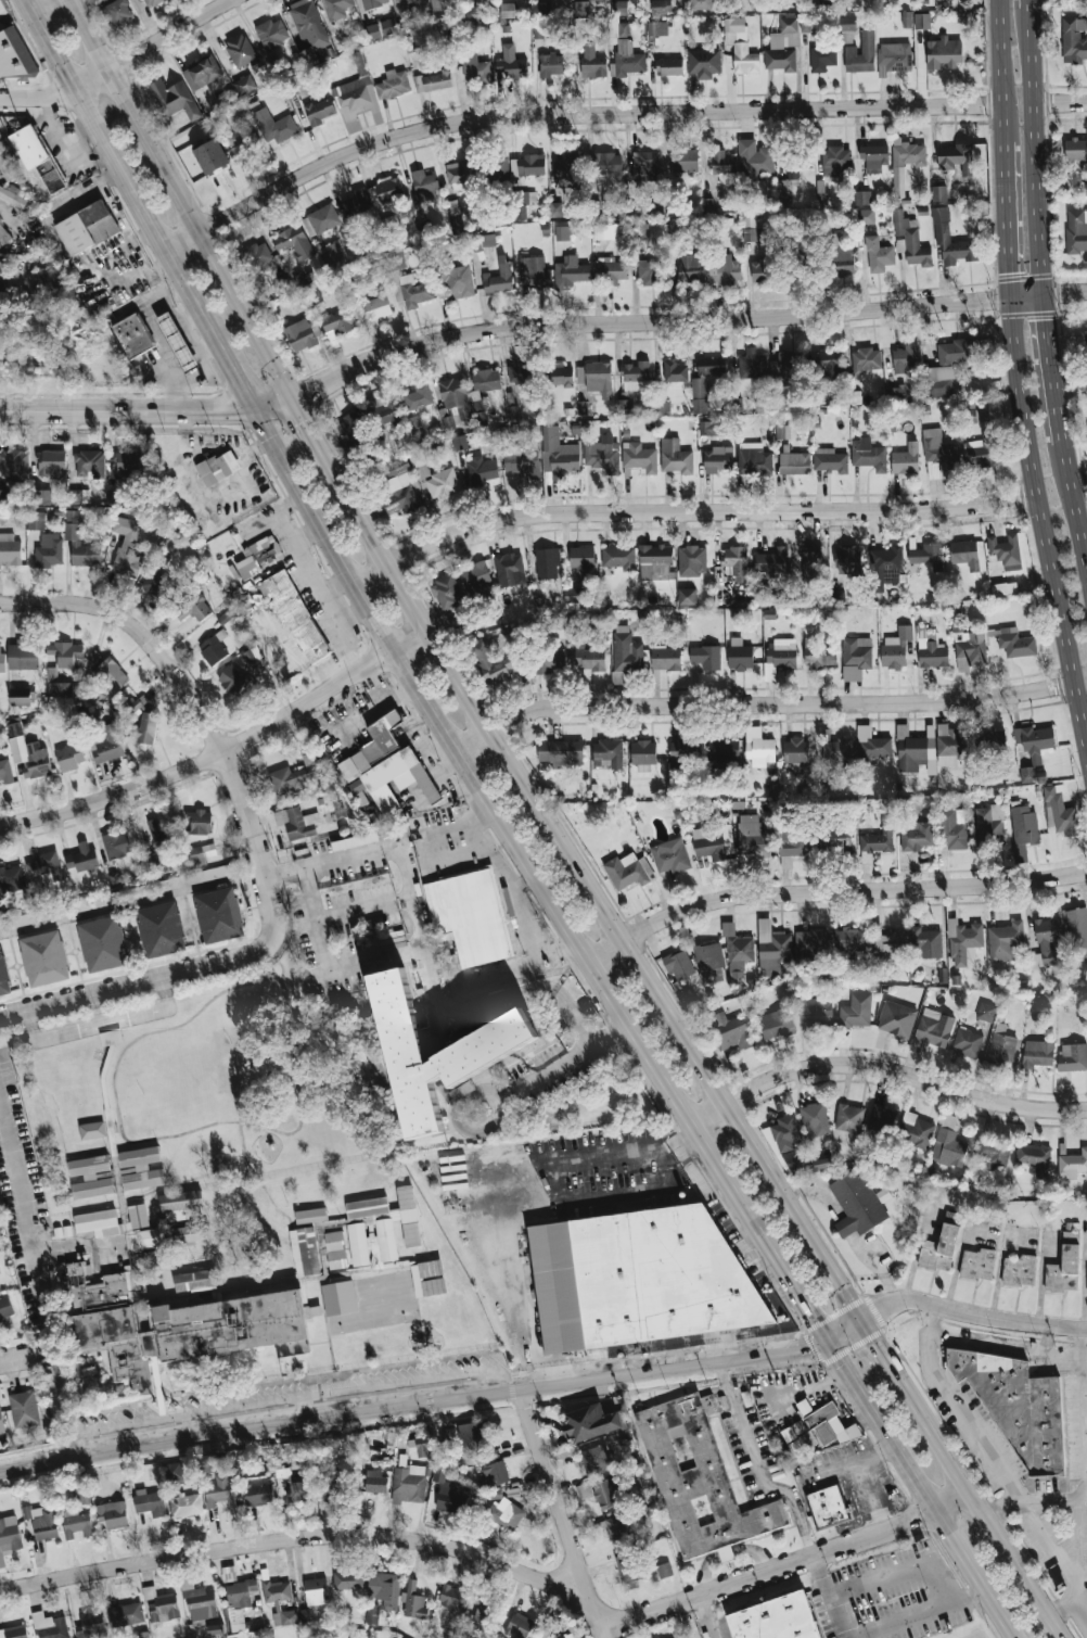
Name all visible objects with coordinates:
building: (936, 0)
building: (410, 1)
building: (152, 2)
building: (374, 3)
building: (700, 4)
building: (662, 5)
building: (621, 7)
building: (336, 8)
building: (583, 8)
building: (508, 10)
building: (118, 11)
building: (437, 11)
building: (907, 18)
building: (922, 21)
building: (308, 22)
building: (847, 24)
building: (388, 26)
building: (657, 28)
building: (624, 29)
building: (373, 30)
building: (538, 30)
building: (272, 34)
building: (1074, 40)
building: (740, 46)
building: (783, 46)
building: (241, 50)
building: (861, 53)
building: (943, 53)
building: (13, 54)
building: (308, 55)
building: (896, 55)
building: (628, 58)
building: (822, 59)
road: (120, 62)
building: (510, 62)
building: (592, 62)
building: (704, 62)
building: (552, 64)
building: (669, 66)
road: (1001, 69)
building: (477, 72)
building: (202, 73)
building: (436, 80)
building: (244, 84)
building: (393, 85)
road: (1018, 85)
building: (357, 91)
building: (175, 99)
road: (1060, 102)
building: (319, 111)
road: (568, 114)
road: (1019, 124)
building: (274, 126)
road: (63, 131)
road: (1035, 147)
building: (1076, 150)
building: (243, 151)
building: (36, 154)
building: (212, 156)
building: (874, 156)
building: (754, 158)
building: (956, 158)
building: (685, 160)
building: (835, 161)
building: (722, 162)
building: (905, 162)
building: (608, 163)
building: (645, 166)
building: (498, 167)
building: (5, 169)
road: (122, 170)
building: (459, 170)
building: (567, 170)
building: (793, 172)
building: (424, 185)
building: (785, 185)
building: (389, 189)
road: (84, 191)
building: (938, 193)
building: (13, 194)
road: (181, 196)
building: (862, 198)
building: (357, 202)
building: (707, 204)
building: (557, 208)
building: (866, 216)
building: (323, 218)
road: (1007, 218)
road: (4, 220)
building: (86, 227)
building: (1076, 230)
building: (606, 231)
building: (641, 231)
building: (562, 232)
building: (751, 232)
building: (3, 234)
building: (950, 239)
building: (911, 240)
building: (294, 242)
building: (481, 242)
building: (332, 253)
building: (879, 255)
building: (258, 257)
building: (843, 261)
building: (801, 265)
building: (3, 266)
building: (691, 268)
building: (725, 269)
building: (765, 269)
building: (613, 270)
building: (535, 271)
building: (572, 271)
building: (656, 271)
building: (499, 276)
building: (48, 281)
building: (458, 281)
building: (407, 282)
traffic signals: (1043, 294)
traffic signals: (1010, 297)
building: (378, 306)
building: (338, 319)
road: (683, 319)
building: (300, 334)
building: (132, 335)
building: (178, 341)
building: (955, 351)
building: (905, 357)
building: (867, 359)
building: (752, 364)
building: (829, 365)
building: (713, 366)
building: (785, 367)
building: (674, 370)
building: (522, 371)
road: (235, 374)
building: (558, 374)
building: (636, 376)
building: (599, 378)
building: (486, 379)
building: (941, 379)
road: (1051, 379)
traffic signals: (292, 394)
building: (699, 395)
building: (418, 396)
building: (456, 396)
building: (476, 401)
building: (625, 402)
traffic signals: (254, 407)
building: (662, 408)
road: (146, 412)
building: (974, 415)
building: (367, 420)
building: (712, 428)
road: (316, 436)
building: (459, 442)
building: (976, 453)
building: (558, 454)
building: (939, 454)
building: (603, 455)
building: (869, 455)
building: (639, 457)
building: (675, 457)
building: (717, 459)
building: (755, 459)
building: (906, 459)
building: (830, 460)
building: (128, 461)
building: (14, 462)
building: (51, 462)
building: (795, 462)
building: (89, 464)
building: (419, 464)
building: (522, 464)
building: (218, 468)
building: (482, 471)
road: (1051, 474)
building: (442, 483)
building: (399, 486)
road: (1078, 487)
building: (78, 496)
building: (41, 497)
road: (1058, 509)
road: (688, 512)
road: (1075, 515)
building: (35, 519)
road: (1043, 521)
building: (79, 541)
building: (127, 546)
building: (9, 549)
building: (49, 549)
building: (1006, 551)
building: (964, 554)
building: (928, 555)
building: (258, 556)
building: (619, 557)
building: (810, 559)
building: (692, 560)
building: (771, 560)
building: (848, 560)
building: (581, 561)
building: (655, 561)
building: (737, 561)
building: (547, 562)
building: (884, 567)
building: (509, 569)
building: (475, 577)
building: (157, 583)
building: (1003, 588)
building: (447, 591)
building: (687, 596)
building: (837, 596)
building: (194, 608)
building: (294, 613)
building: (1015, 643)
building: (214, 648)
building: (896, 648)
building: (970, 649)
building: (65, 652)
building: (625, 652)
building: (782, 653)
building: (933, 653)
building: (739, 655)
building: (820, 655)
building: (22, 656)
building: (706, 657)
building: (856, 657)
building: (666, 658)
building: (255, 659)
building: (590, 659)
building: (548, 660)
building: (493, 661)
building: (2, 662)
road: (1078, 664)
building: (110, 675)
building: (233, 678)
road: (177, 683)
building: (56, 684)
building: (20, 696)
road: (1082, 698)
road: (759, 704)
building: (144, 727)
building: (996, 739)
building: (1035, 740)
building: (872, 742)
building: (107, 745)
building: (949, 745)
building: (758, 747)
building: (724, 750)
building: (796, 750)
building: (608, 751)
building: (27, 752)
road: (225, 752)
building: (562, 752)
building: (643, 752)
building: (685, 752)
building: (835, 753)
building: (69, 755)
building: (383, 762)
building: (5, 772)
building: (297, 774)
building: (1031, 775)
building: (1061, 810)
building: (281, 816)
building: (199, 821)
building: (988, 823)
building: (300, 824)
building: (1024, 824)
building: (952, 828)
building: (157, 835)
building: (753, 836)
building: (917, 836)
building: (836, 838)
building: (714, 841)
building: (877, 841)
building: (116, 843)
building: (792, 846)
road: (384, 847)
building: (202, 853)
building: (670, 855)
building: (82, 856)
building: (46, 865)
building: (628, 871)
building: (208, 874)
building: (11, 877)
road: (523, 883)
road: (511, 889)
road: (831, 889)
road: (597, 901)
road: (130, 902)
road: (366, 907)
building: (219, 915)
building: (471, 915)
building: (162, 929)
building: (1077, 930)
building: (851, 939)
building: (963, 941)
building: (1006, 941)
building: (1046, 941)
building: (891, 942)
building: (925, 942)
building: (103, 943)
building: (811, 943)
building: (772, 948)
building: (739, 953)
building: (44, 957)
road: (279, 961)
building: (711, 961)
building: (679, 964)
road: (328, 967)
building: (3, 975)
road: (170, 975)
building: (942, 975)
building: (816, 1007)
road: (495, 1008)
building: (857, 1012)
building: (986, 1012)
building: (897, 1019)
building: (777, 1024)
road: (101, 1025)
road: (628, 1026)
building: (934, 1027)
building: (732, 1031)
building: (968, 1042)
building: (1002, 1046)
building: (434, 1053)
building: (1038, 1053)
building: (1073, 1057)
road: (884, 1068)
road: (501, 1095)
building: (881, 1115)
building: (851, 1118)
building: (815, 1119)
road: (222, 1120)
building: (91, 1129)
building: (916, 1130)
building: (949, 1143)
building: (788, 1144)
building: (994, 1153)
building: (1035, 1158)
building: (140, 1167)
building: (90, 1177)
road: (187, 1179)
road: (553, 1179)
road: (257, 1180)
building: (858, 1203)
building: (180, 1204)
building: (122, 1224)
building: (378, 1226)
road: (847, 1230)
building: (188, 1234)
building: (411, 1234)
road: (79, 1245)
building: (941, 1245)
building: (977, 1264)
building: (1064, 1266)
building: (1019, 1270)
building: (638, 1274)
road: (37, 1278)
building: (427, 1278)
building: (195, 1281)
road: (525, 1294)
building: (338, 1297)
road: (951, 1309)
building: (4, 1310)
traffic signals: (861, 1320)
building: (179, 1322)
road: (1045, 1339)
traffic signals: (829, 1341)
road: (1008, 1347)
road: (884, 1354)
road: (15, 1357)
road: (1083, 1386)
road: (414, 1404)
building: (1019, 1405)
road: (957, 1408)
building: (24, 1409)
building: (593, 1422)
building: (1, 1423)
building: (818, 1430)
building: (471, 1436)
building: (420, 1446)
road: (847, 1458)
building: (597, 1459)
building: (212, 1463)
road: (757, 1468)
building: (174, 1472)
building: (494, 1475)
building: (698, 1476)
building: (375, 1481)
building: (408, 1483)
building: (330, 1487)
building: (290, 1490)
building: (584, 1490)
building: (219, 1491)
road: (872, 1491)
building: (609, 1493)
building: (259, 1495)
building: (449, 1495)
road: (1035, 1500)
building: (150, 1502)
building: (827, 1502)
building: (186, 1504)
road: (562, 1508)
road: (986, 1512)
road: (857, 1513)
building: (113, 1514)
building: (506, 1514)
building: (43, 1522)
building: (77, 1523)
building: (616, 1531)
building: (9, 1536)
road: (300, 1542)
road: (1076, 1550)
road: (790, 1563)
road: (1058, 1565)
road: (900, 1569)
building: (630, 1570)
building: (664, 1570)
road: (564, 1572)
building: (348, 1579)
building: (384, 1589)
building: (277, 1590)
building: (316, 1591)
building: (452, 1597)
road: (831, 1597)
building: (239, 1601)
building: (413, 1602)
building: (199, 1603)
building: (161, 1604)
road: (1083, 1612)
road: (920, 1613)
building: (126, 1614)
building: (371, 1614)
building: (486, 1614)
road: (705, 1616)
building: (285, 1617)
building: (775, 1617)
building: (91, 1625)
building: (50, 1626)
building: (519, 1626)
building: (574, 1629)
building: (14, 1631)
road: (606, 1633)
building: (496, 1637)
building: (546, 1637)
building: (675, 1637)

